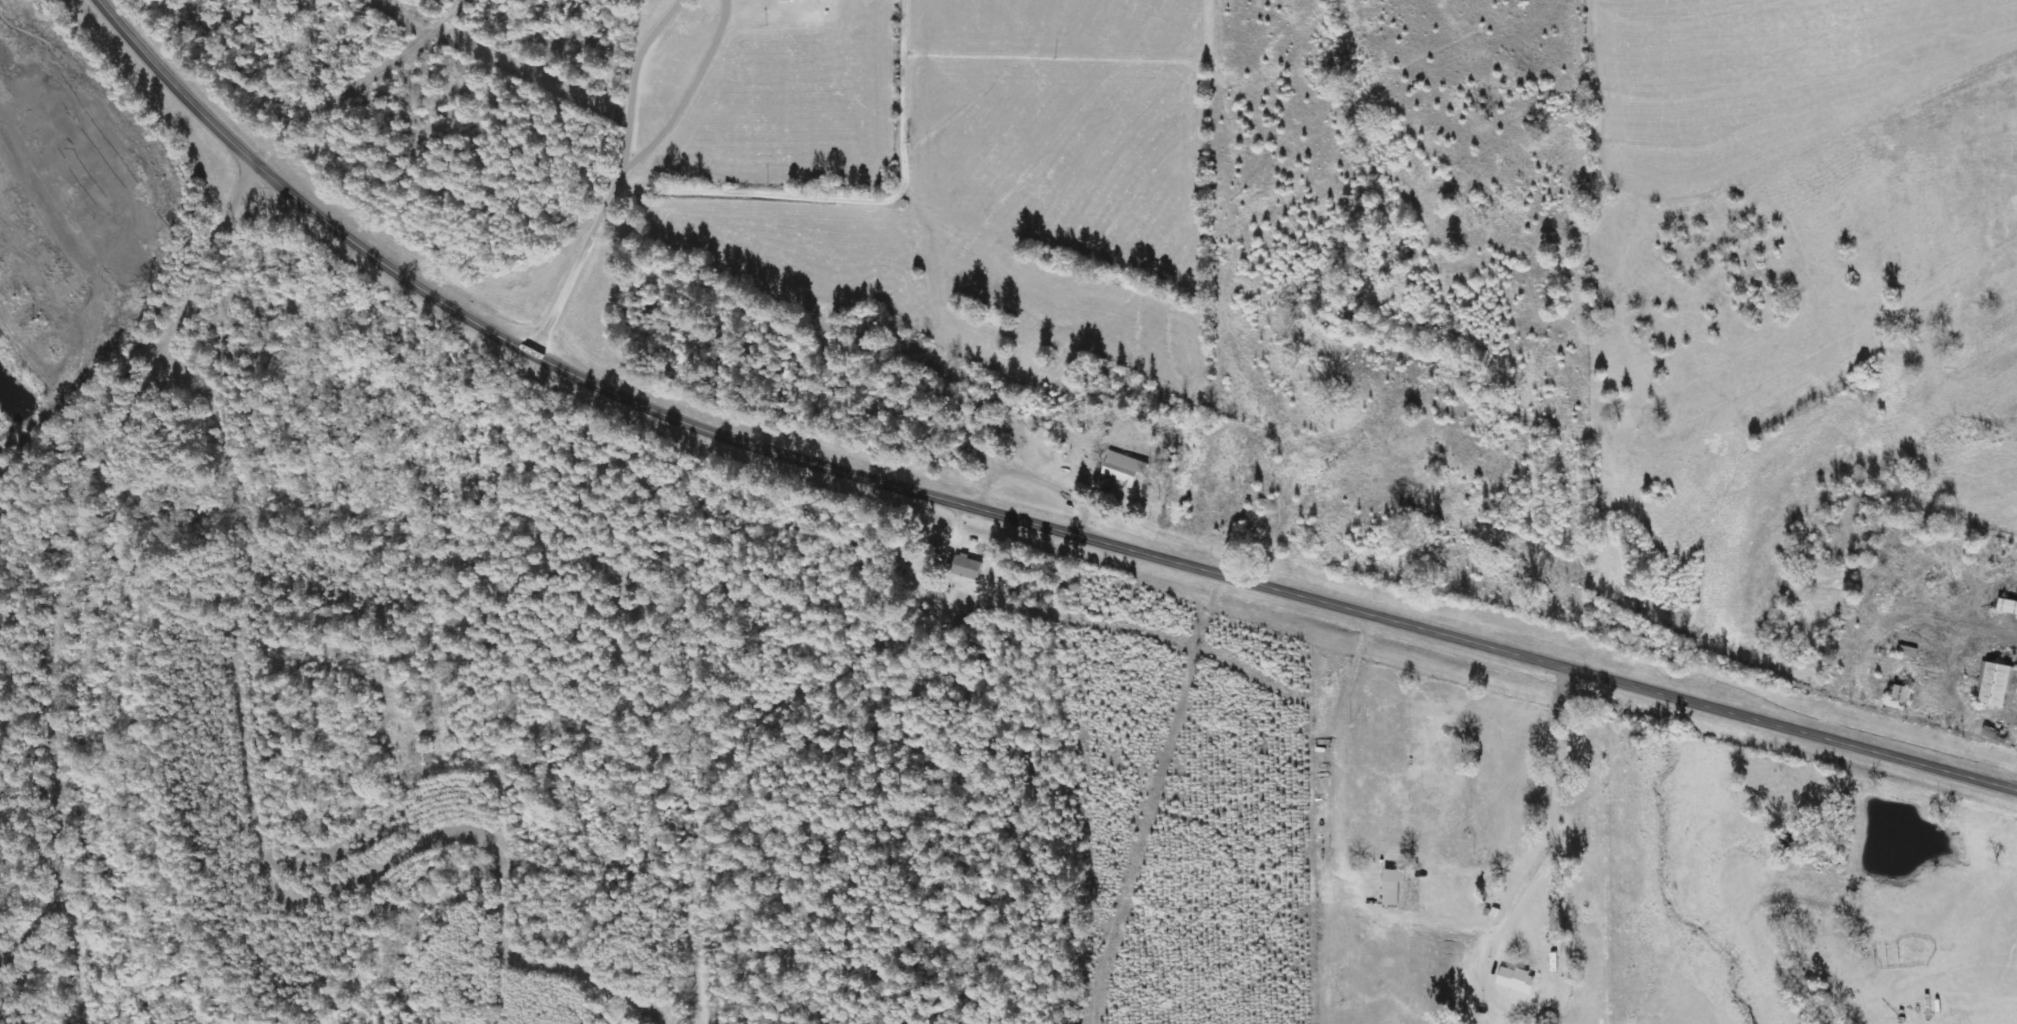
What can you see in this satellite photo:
road: (606, 170)
building: (1126, 469)
road: (995, 521)
road: (82, 562)
building: (970, 567)
road: (1004, 586)
building: (1996, 683)
road: (1373, 709)
road: (62, 976)
building: (1519, 983)

